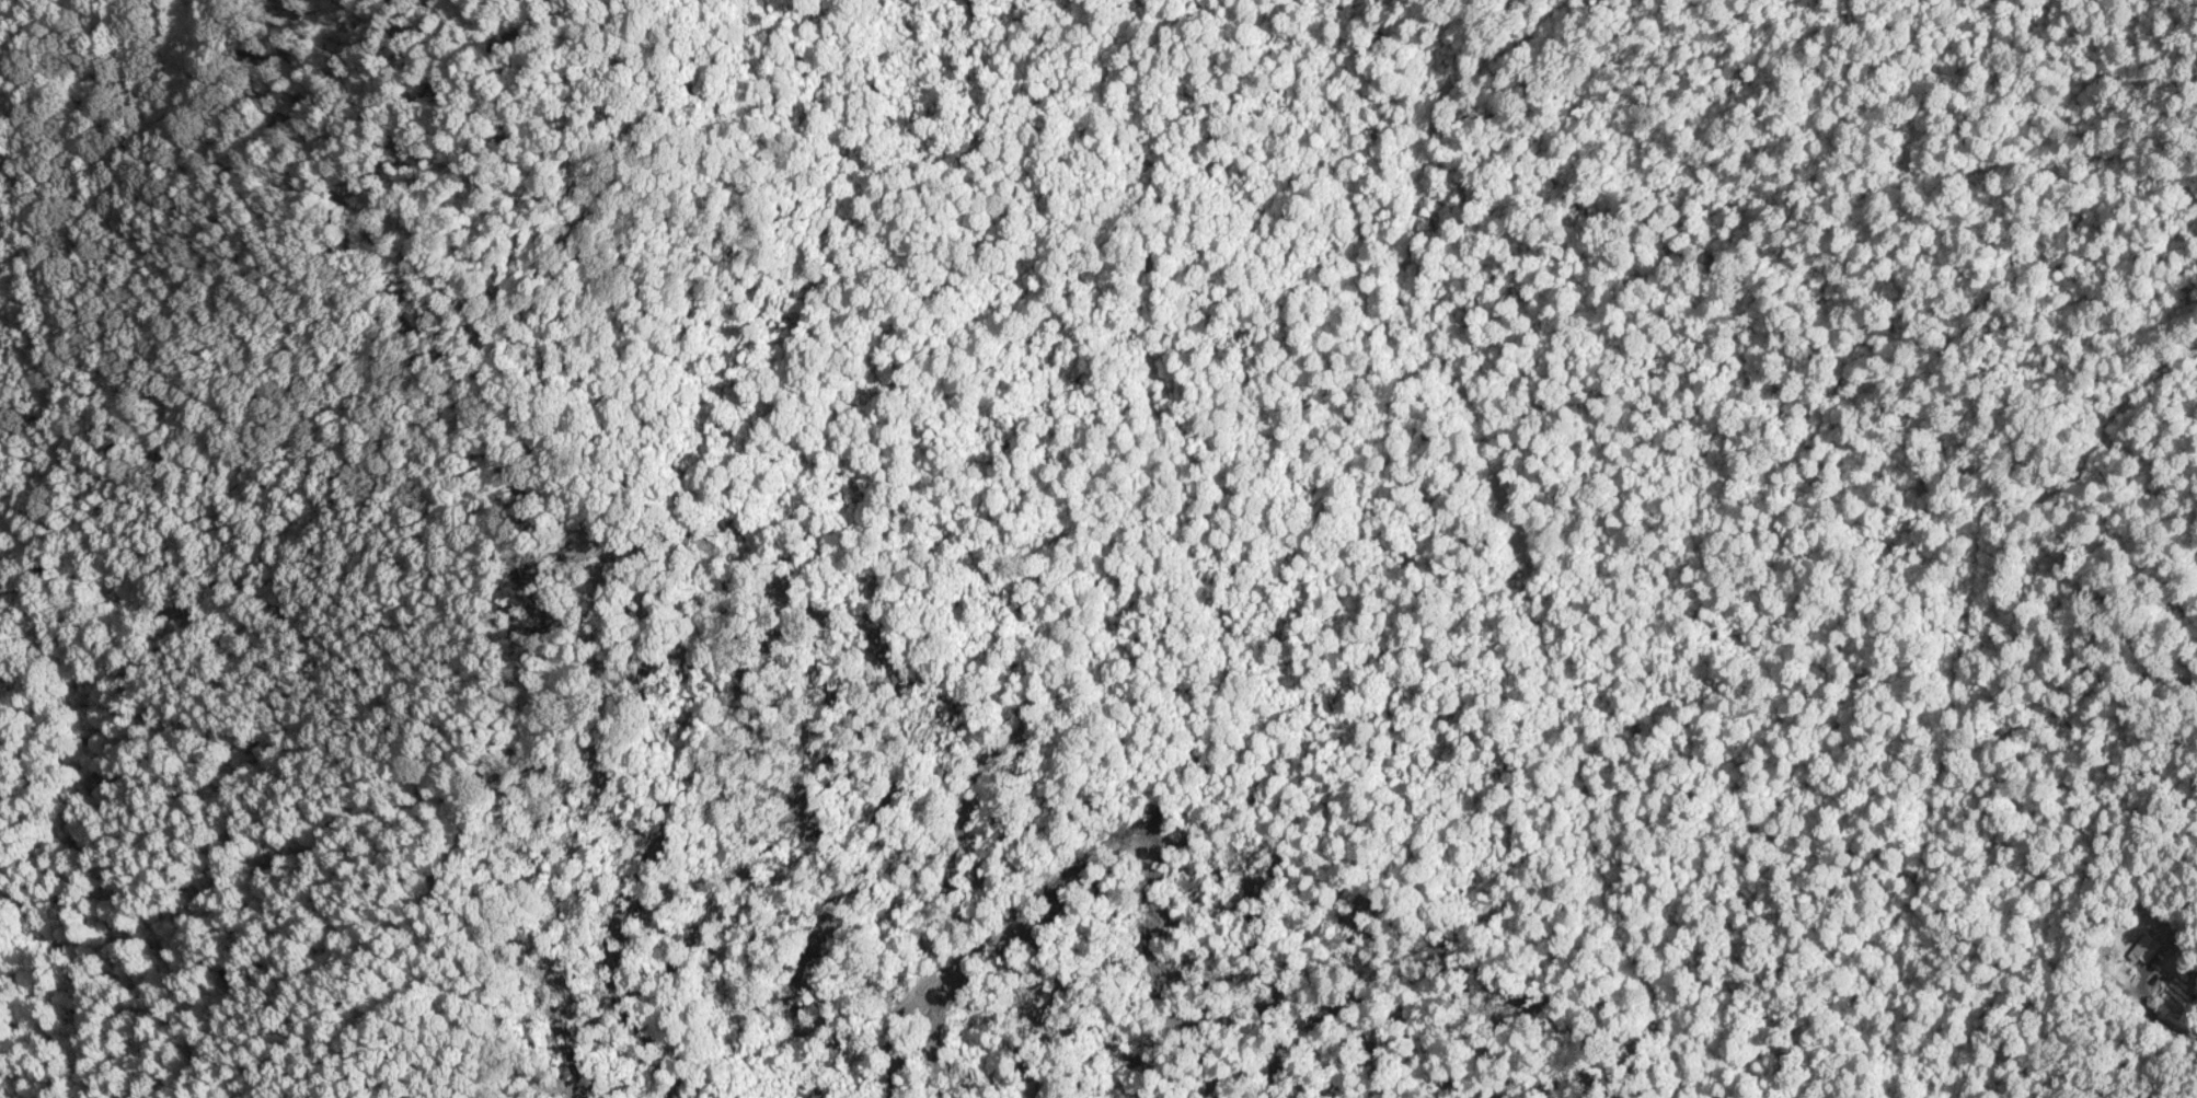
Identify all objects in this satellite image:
road: (2117, 632)

